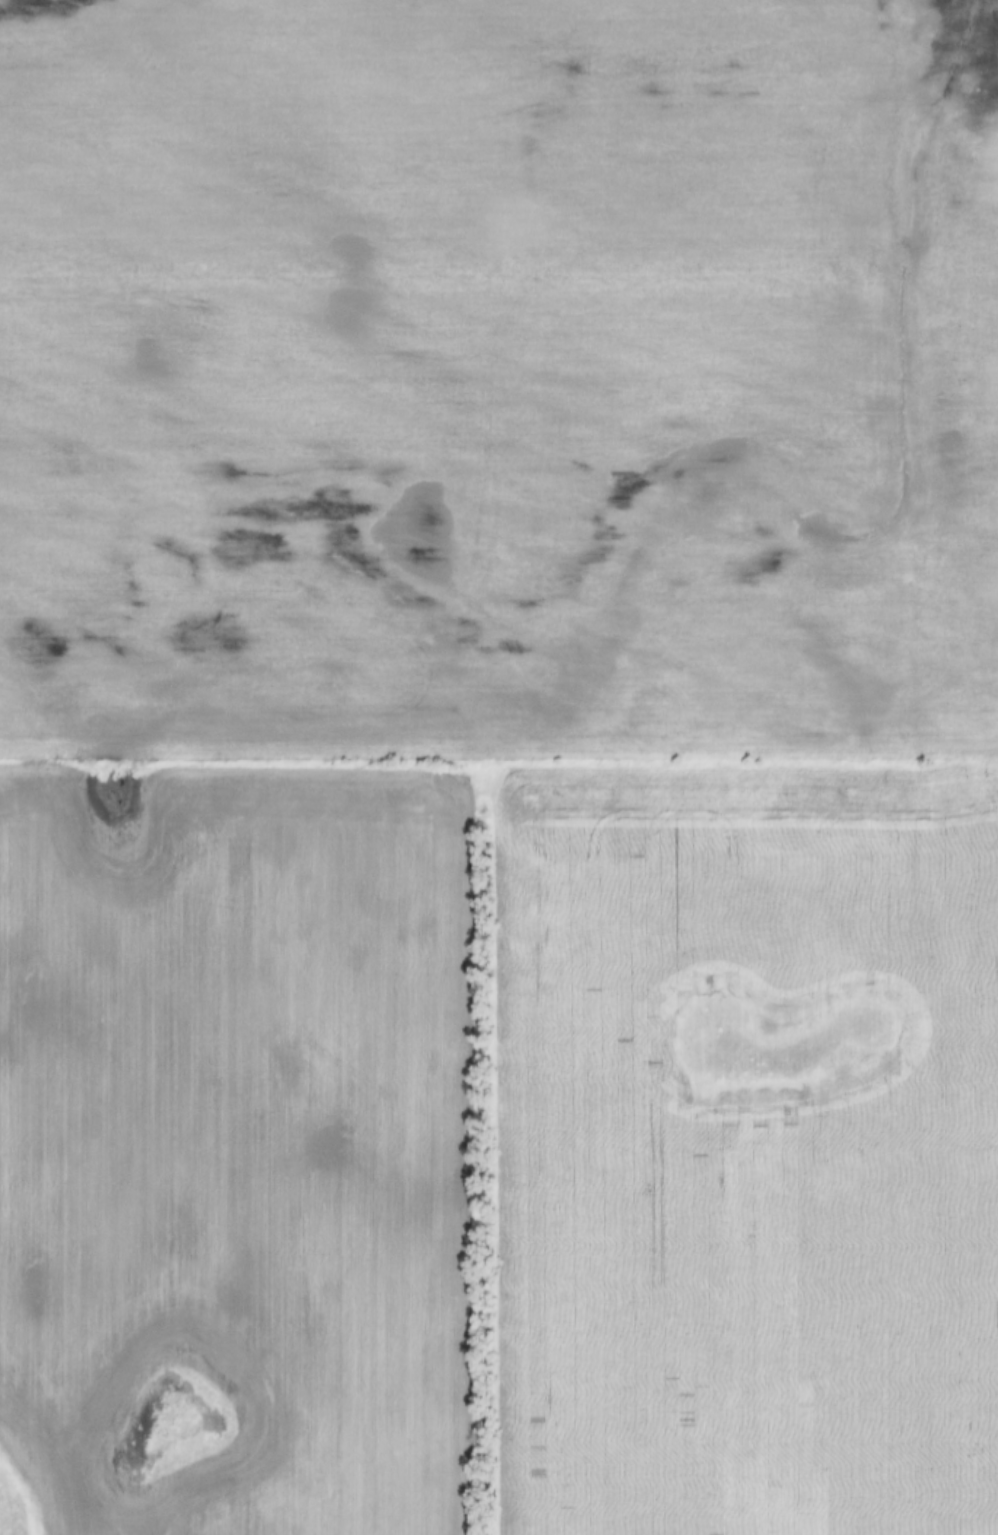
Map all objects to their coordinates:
road: (918, 353)

